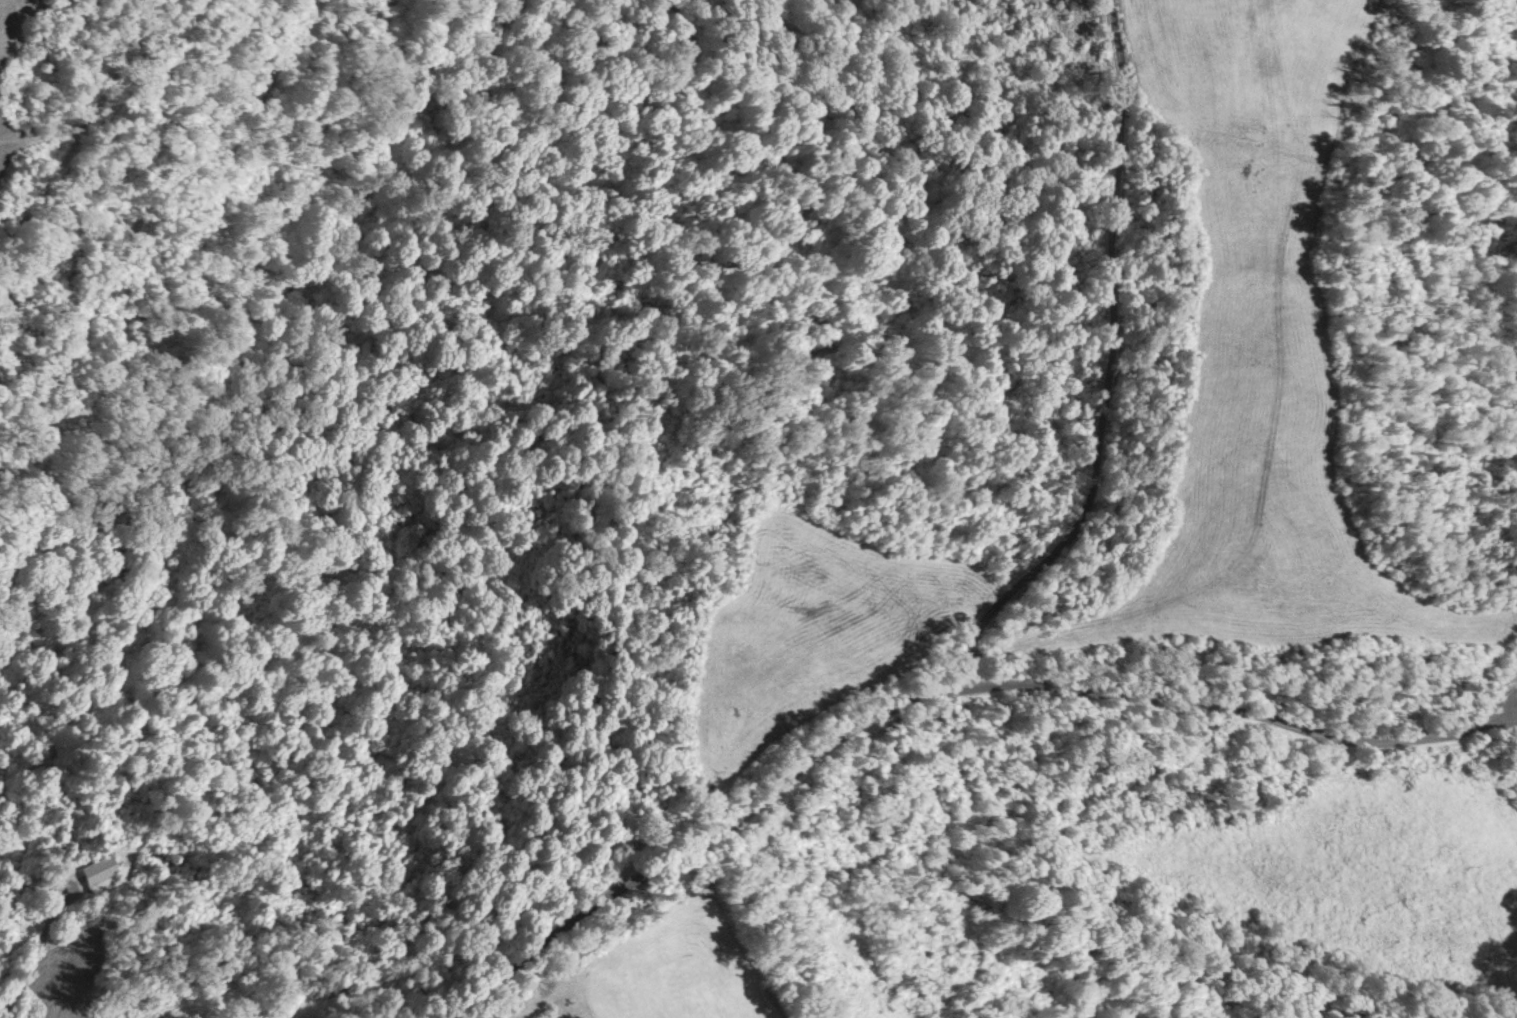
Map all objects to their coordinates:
road: (933, 698)
building: (100, 873)
road: (25, 976)

